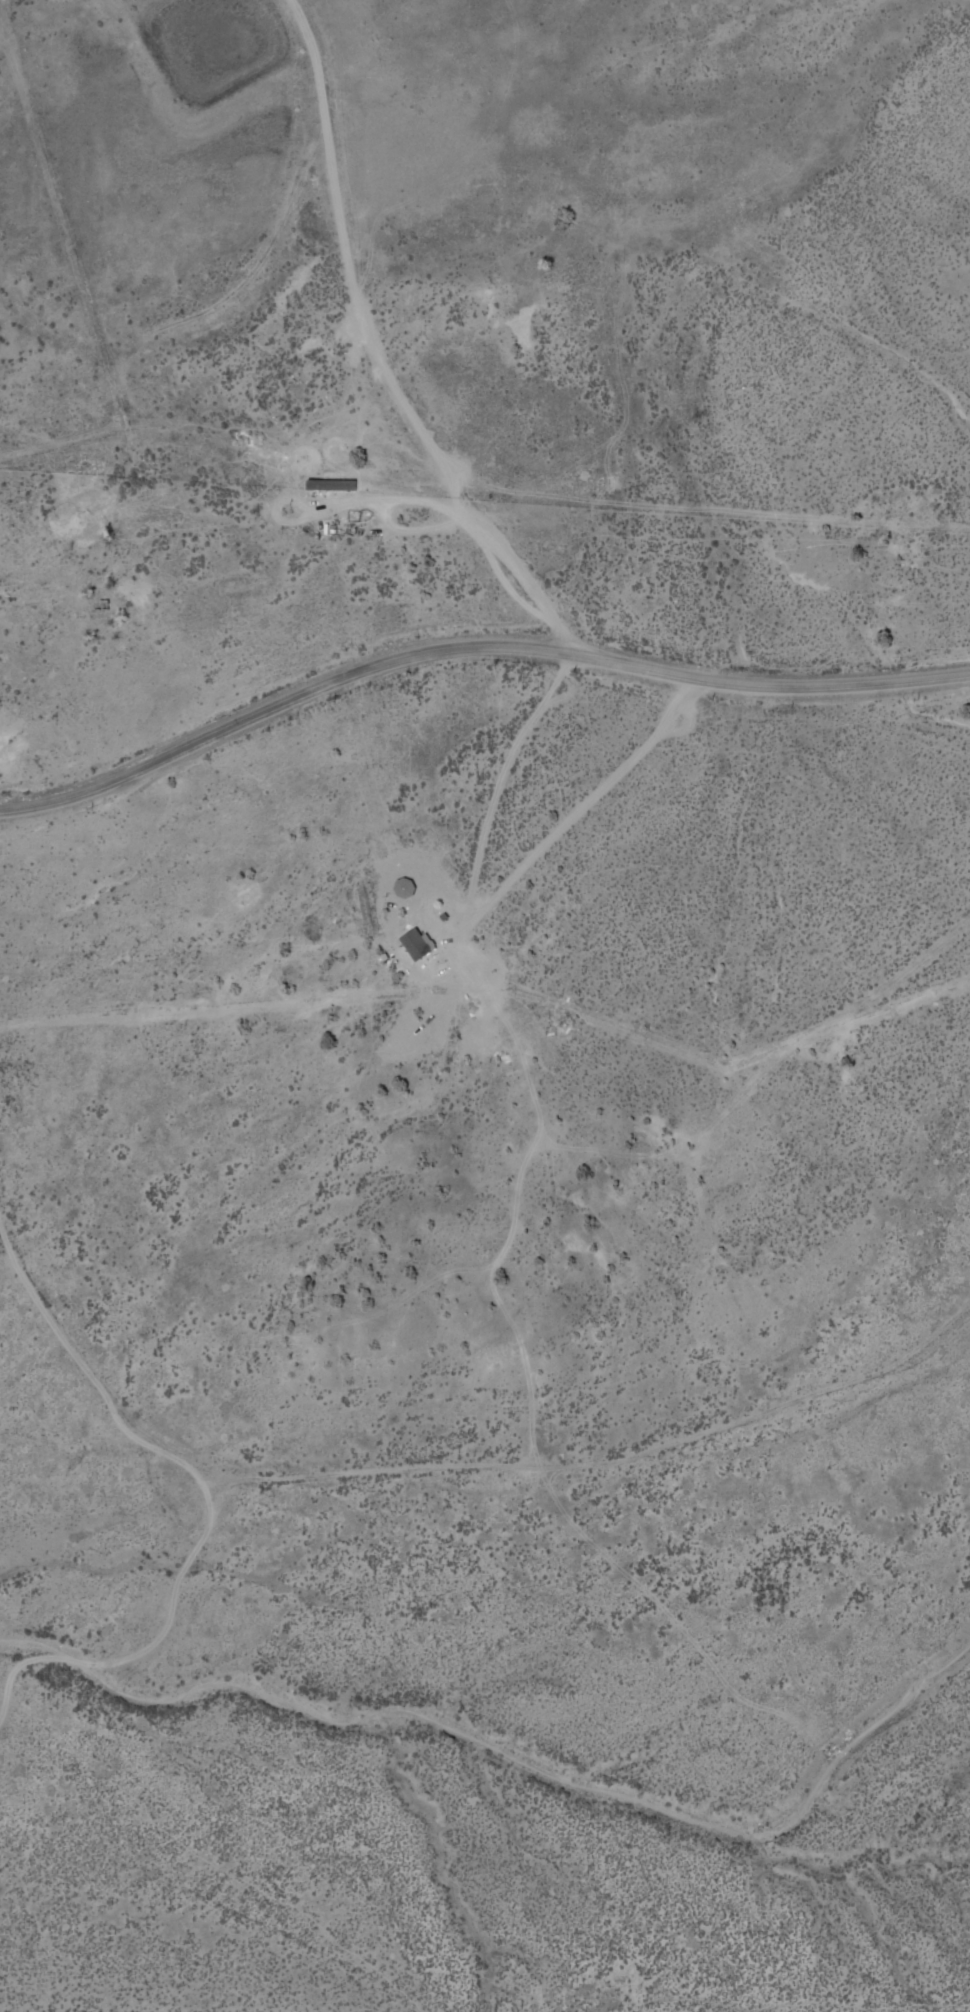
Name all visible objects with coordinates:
road: (345, 259)
road: (224, 473)
road: (520, 572)
road: (547, 650)
road: (74, 720)
road: (73, 795)
building: (415, 943)
road: (31, 2005)

